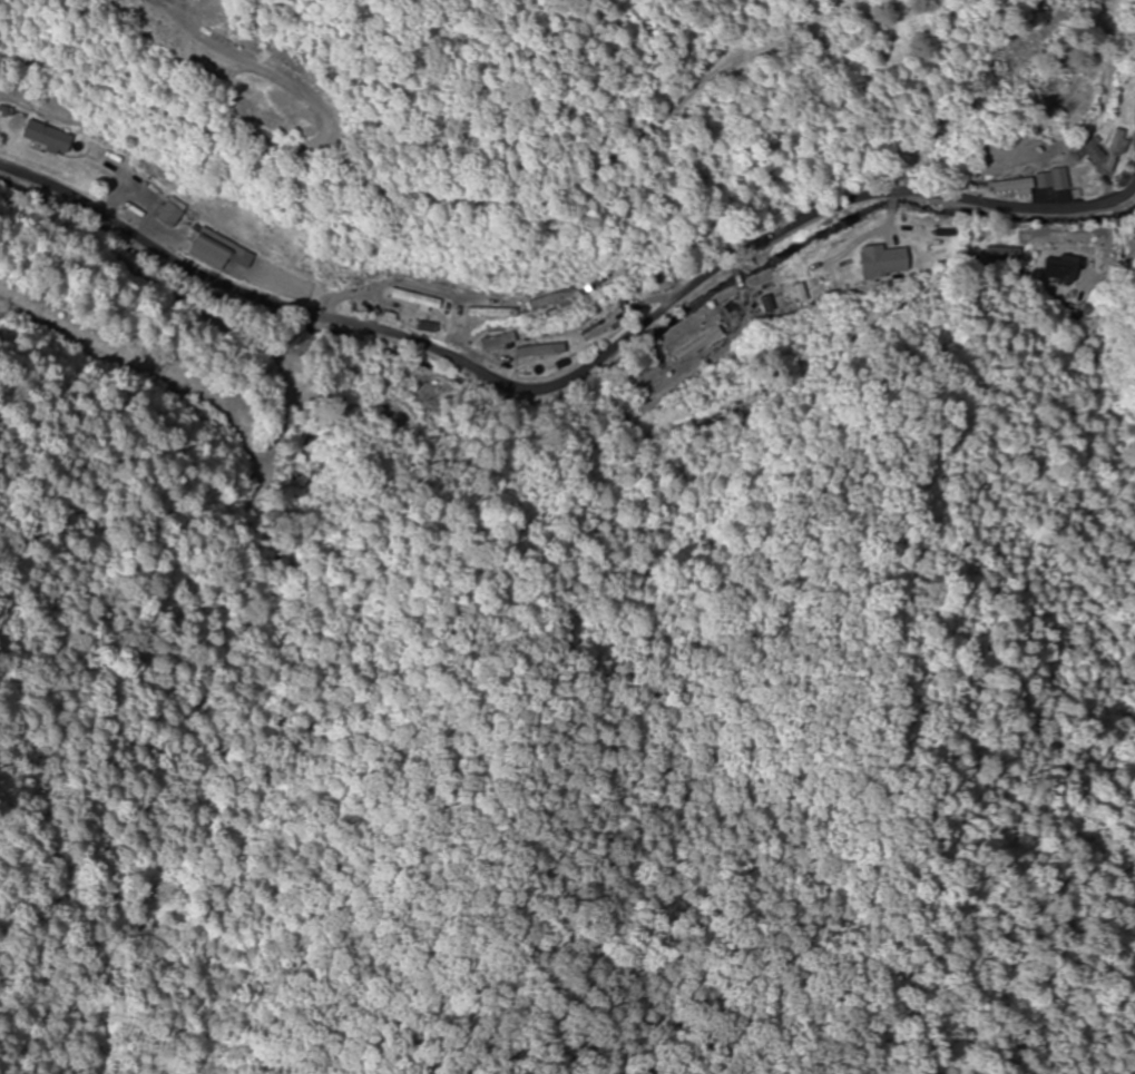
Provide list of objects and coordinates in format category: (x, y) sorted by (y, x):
building: (47, 138)
building: (1115, 151)
building: (1066, 180)
building: (1012, 187)
building: (169, 216)
road: (913, 238)
building: (217, 252)
building: (1002, 254)
building: (883, 263)
building: (1059, 269)
building: (590, 286)
road: (615, 287)
building: (414, 300)
building: (549, 302)
building: (363, 308)
building: (489, 314)
building: (600, 326)
building: (425, 328)
building: (496, 342)
building: (701, 343)
building: (539, 352)
building: (395, 415)
building: (310, 477)

